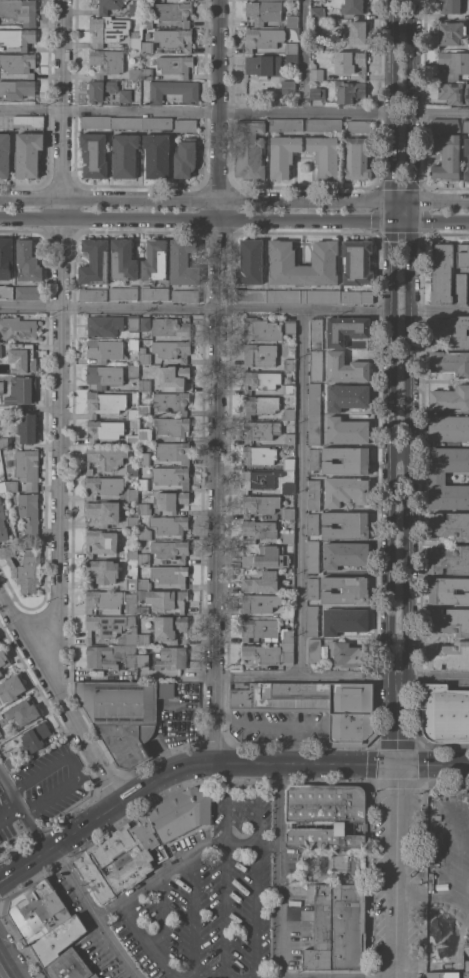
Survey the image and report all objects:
building: (109, 5)
building: (354, 6)
building: (452, 6)
building: (135, 7)
building: (264, 10)
building: (20, 11)
building: (317, 11)
building: (174, 12)
building: (292, 20)
building: (148, 21)
building: (107, 30)
building: (357, 32)
building: (451, 32)
building: (147, 35)
building: (18, 37)
building: (174, 38)
building: (263, 38)
building: (135, 40)
building: (317, 43)
building: (147, 46)
building: (292, 47)
road: (305, 58)
building: (292, 60)
building: (107, 61)
building: (351, 62)
building: (18, 63)
building: (454, 63)
building: (175, 65)
building: (264, 65)
building: (316, 72)
building: (135, 73)
building: (147, 73)
building: (288, 87)
building: (16, 88)
building: (101, 89)
building: (173, 90)
building: (349, 91)
building: (317, 92)
building: (454, 92)
building: (125, 94)
road: (196, 113)
road: (441, 116)
building: (29, 121)
building: (96, 121)
building: (127, 122)
building: (157, 122)
building: (185, 124)
building: (286, 124)
building: (324, 124)
building: (359, 125)
building: (446, 125)
building: (466, 126)
building: (250, 149)
building: (28, 153)
building: (4, 154)
building: (94, 154)
building: (125, 154)
building: (283, 154)
building: (157, 155)
building: (325, 155)
building: (185, 157)
building: (358, 157)
building: (447, 157)
building: (468, 162)
road: (234, 197)
traffic signals: (393, 201)
traffic signals: (413, 201)
road: (234, 221)
traffic signals: (393, 223)
traffic signals: (412, 224)
building: (463, 253)
building: (6, 256)
building: (123, 259)
building: (155, 259)
building: (324, 259)
building: (28, 260)
building: (95, 261)
building: (251, 261)
building: (183, 262)
building: (357, 262)
building: (442, 273)
building: (460, 288)
building: (6, 291)
building: (29, 291)
building: (124, 292)
building: (155, 292)
building: (93, 294)
building: (185, 295)
building: (252, 295)
building: (304, 295)
building: (357, 296)
road: (196, 308)
road: (440, 310)
building: (134, 322)
building: (145, 322)
building: (104, 324)
building: (170, 326)
building: (290, 326)
building: (17, 328)
building: (261, 328)
building: (346, 329)
building: (452, 329)
building: (316, 333)
road: (58, 338)
building: (134, 344)
building: (0, 349)
building: (105, 349)
building: (172, 349)
building: (260, 354)
building: (144, 355)
building: (22, 356)
building: (450, 362)
building: (290, 364)
building: (316, 365)
building: (346, 367)
building: (133, 371)
building: (104, 375)
building: (174, 375)
road: (218, 380)
building: (260, 380)
road: (391, 381)
road: (411, 382)
building: (145, 384)
building: (1, 386)
building: (289, 388)
building: (21, 389)
building: (146, 394)
building: (347, 396)
building: (450, 397)
building: (314, 398)
building: (171, 400)
building: (111, 404)
building: (260, 404)
building: (144, 409)
building: (289, 413)
building: (173, 425)
building: (27, 427)
building: (449, 427)
building: (104, 429)
building: (261, 429)
building: (314, 429)
building: (347, 429)
building: (145, 433)
building: (289, 438)
building: (132, 439)
building: (5, 441)
building: (0, 445)
building: (173, 451)
building: (259, 454)
road: (400, 456)
building: (105, 457)
building: (144, 458)
building: (313, 458)
building: (346, 459)
building: (289, 462)
building: (28, 467)
building: (132, 469)
building: (171, 475)
building: (437, 477)
building: (261, 478)
building: (143, 483)
building: (12, 485)
building: (3, 486)
building: (103, 486)
building: (288, 487)
building: (346, 490)
building: (132, 493)
road: (301, 493)
building: (314, 493)
building: (171, 500)
building: (260, 503)
building: (144, 508)
building: (104, 511)
building: (288, 512)
building: (29, 513)
building: (131, 521)
building: (3, 523)
building: (313, 523)
building: (169, 524)
building: (346, 524)
building: (449, 524)
building: (259, 528)
building: (144, 533)
building: (288, 536)
building: (100, 541)
building: (171, 549)
building: (131, 551)
building: (345, 553)
building: (313, 556)
building: (267, 557)
building: (144, 558)
building: (450, 559)
building: (24, 567)
building: (109, 573)
building: (170, 574)
building: (261, 581)
building: (144, 583)
building: (89, 584)
building: (312, 587)
building: (346, 589)
building: (448, 589)
building: (141, 594)
building: (167, 599)
building: (110, 601)
building: (260, 602)
building: (143, 608)
building: (287, 611)
building: (312, 620)
building: (345, 620)
building: (449, 620)
building: (107, 625)
building: (170, 627)
building: (259, 627)
building: (287, 635)
building: (129, 636)
building: (144, 638)
building: (314, 650)
building: (270, 653)
building: (349, 654)
building: (111, 655)
building: (449, 655)
building: (163, 657)
building: (3, 659)
building: (1, 672)
building: (0, 674)
road: (219, 677)
road: (438, 680)
building: (11, 688)
building: (167, 689)
building: (279, 694)
road: (60, 695)
road: (51, 702)
building: (350, 711)
building: (23, 712)
building: (444, 712)
building: (1, 716)
building: (120, 717)
road: (415, 731)
building: (0, 734)
building: (33, 738)
road: (301, 750)
road: (217, 761)
building: (13, 763)
road: (72, 767)
road: (138, 774)
road: (174, 790)
road: (225, 799)
road: (4, 803)
road: (257, 803)
building: (435, 809)
building: (181, 812)
building: (324, 817)
road: (52, 831)
road: (250, 844)
building: (93, 858)
road: (426, 858)
building: (338, 863)
road: (438, 863)
road: (278, 870)
road: (395, 870)
road: (69, 875)
road: (159, 875)
building: (295, 877)
road: (369, 884)
road: (224, 905)
building: (35, 910)
road: (256, 911)
road: (158, 916)
road: (193, 916)
building: (336, 929)
road: (16, 939)
building: (55, 940)
road: (147, 941)
building: (66, 966)
road: (6, 967)
road: (213, 972)
building: (440, 975)
building: (93, 976)

